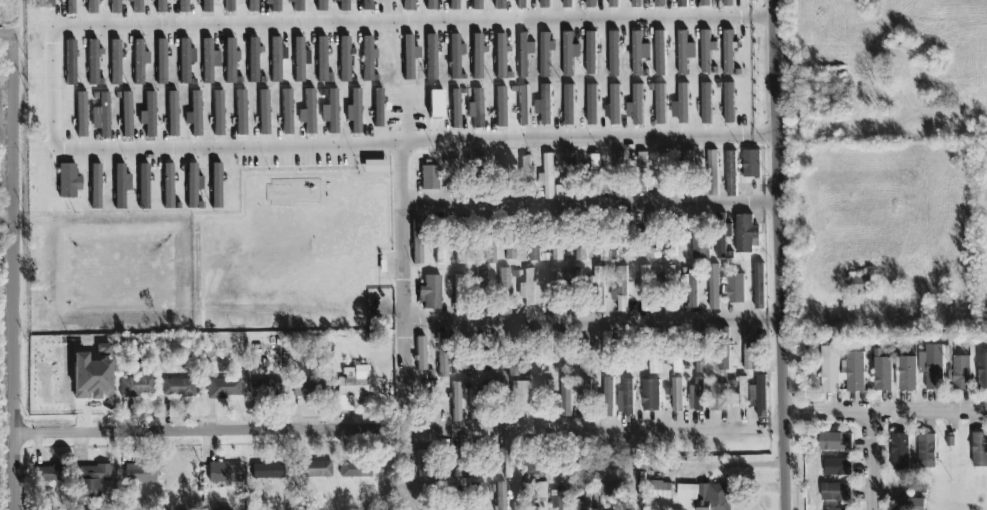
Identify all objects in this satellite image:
building: (705, 3)
building: (44, 4)
building: (499, 4)
building: (544, 4)
building: (568, 4)
building: (590, 4)
building: (613, 4)
building: (636, 4)
building: (659, 4)
building: (682, 4)
building: (728, 4)
building: (273, 5)
building: (342, 5)
building: (366, 5)
building: (407, 5)
building: (430, 5)
building: (453, 5)
building: (476, 5)
building: (522, 5)
building: (115, 6)
building: (137, 6)
building: (160, 6)
building: (182, 6)
building: (206, 6)
building: (229, 6)
building: (252, 6)
building: (297, 6)
building: (321, 6)
building: (70, 7)
building: (91, 7)
road: (13, 28)
road: (9, 44)
building: (707, 53)
building: (728, 53)
building: (569, 54)
building: (591, 54)
building: (660, 54)
building: (685, 54)
building: (500, 55)
building: (524, 55)
building: (545, 55)
building: (614, 55)
building: (639, 55)
building: (455, 56)
building: (431, 57)
building: (477, 57)
building: (276, 58)
building: (367, 58)
building: (408, 58)
building: (253, 59)
building: (345, 59)
building: (298, 60)
building: (93, 61)
building: (139, 61)
building: (160, 61)
building: (184, 61)
building: (207, 61)
building: (230, 61)
building: (70, 62)
building: (115, 62)
building: (322, 62)
road: (52, 97)
building: (436, 104)
building: (706, 104)
building: (729, 104)
building: (660, 105)
building: (683, 105)
building: (523, 106)
building: (544, 106)
building: (569, 106)
building: (592, 106)
building: (614, 106)
building: (500, 107)
building: (636, 107)
building: (378, 108)
building: (455, 108)
building: (354, 110)
building: (286, 111)
building: (308, 111)
building: (240, 112)
building: (263, 112)
building: (333, 112)
building: (218, 113)
building: (150, 114)
building: (172, 114)
building: (194, 114)
building: (81, 115)
building: (126, 115)
building: (101, 116)
building: (752, 164)
building: (405, 165)
building: (475, 165)
building: (375, 166)
building: (502, 166)
building: (643, 173)
building: (713, 173)
building: (667, 174)
building: (690, 174)
building: (731, 174)
building: (573, 175)
building: (596, 175)
building: (619, 175)
building: (526, 177)
building: (550, 177)
building: (429, 178)
building: (453, 178)
building: (70, 181)
building: (403, 184)
building: (121, 185)
building: (167, 186)
building: (193, 186)
building: (216, 186)
building: (95, 187)
building: (143, 187)
road: (590, 205)
building: (627, 234)
building: (746, 234)
building: (672, 236)
building: (721, 236)
building: (651, 237)
building: (700, 238)
building: (558, 239)
building: (581, 239)
building: (605, 239)
building: (440, 240)
building: (417, 242)
building: (534, 245)
building: (465, 246)
building: (494, 251)
building: (510, 252)
road: (781, 254)
building: (553, 280)
building: (865, 281)
road: (15, 283)
building: (529, 287)
building: (714, 287)
building: (759, 287)
building: (692, 288)
building: (646, 289)
building: (670, 289)
building: (735, 289)
building: (434, 290)
building: (576, 290)
building: (599, 290)
building: (623, 290)
road: (403, 291)
building: (482, 291)
building: (505, 291)
building: (459, 293)
road: (594, 322)
building: (630, 348)
building: (748, 350)
building: (608, 351)
building: (701, 351)
building: (654, 352)
building: (724, 352)
building: (466, 353)
building: (514, 353)
building: (536, 353)
building: (561, 353)
building: (421, 354)
building: (443, 355)
building: (584, 356)
building: (490, 357)
building: (934, 368)
building: (830, 370)
building: (855, 372)
building: (982, 372)
building: (907, 374)
building: (962, 374)
building: (882, 375)
building: (91, 377)
building: (137, 386)
building: (178, 387)
building: (351, 387)
building: (224, 388)
building: (272, 388)
building: (309, 388)
building: (496, 389)
building: (474, 393)
building: (743, 393)
building: (697, 394)
building: (587, 395)
building: (677, 395)
building: (520, 396)
building: (651, 396)
building: (628, 397)
building: (762, 397)
building: (565, 398)
building: (607, 398)
building: (718, 398)
building: (434, 399)
building: (457, 401)
road: (885, 413)
road: (598, 427)
road: (198, 433)
building: (836, 443)
building: (980, 450)
building: (927, 452)
building: (574, 453)
building: (901, 453)
building: (509, 458)
building: (465, 459)
building: (489, 459)
road: (874, 462)
building: (554, 463)
building: (422, 464)
building: (532, 464)
building: (443, 465)
building: (838, 468)
building: (315, 469)
building: (355, 469)
building: (268, 470)
road: (409, 470)
building: (225, 473)
building: (141, 474)
building: (50, 476)
building: (92, 479)
building: (436, 491)
building: (611, 491)
building: (660, 491)
building: (836, 492)
building: (476, 496)
building: (500, 496)
building: (567, 496)
building: (706, 496)
building: (521, 497)
building: (541, 497)
building: (587, 497)
building: (908, 505)
building: (839, 509)

